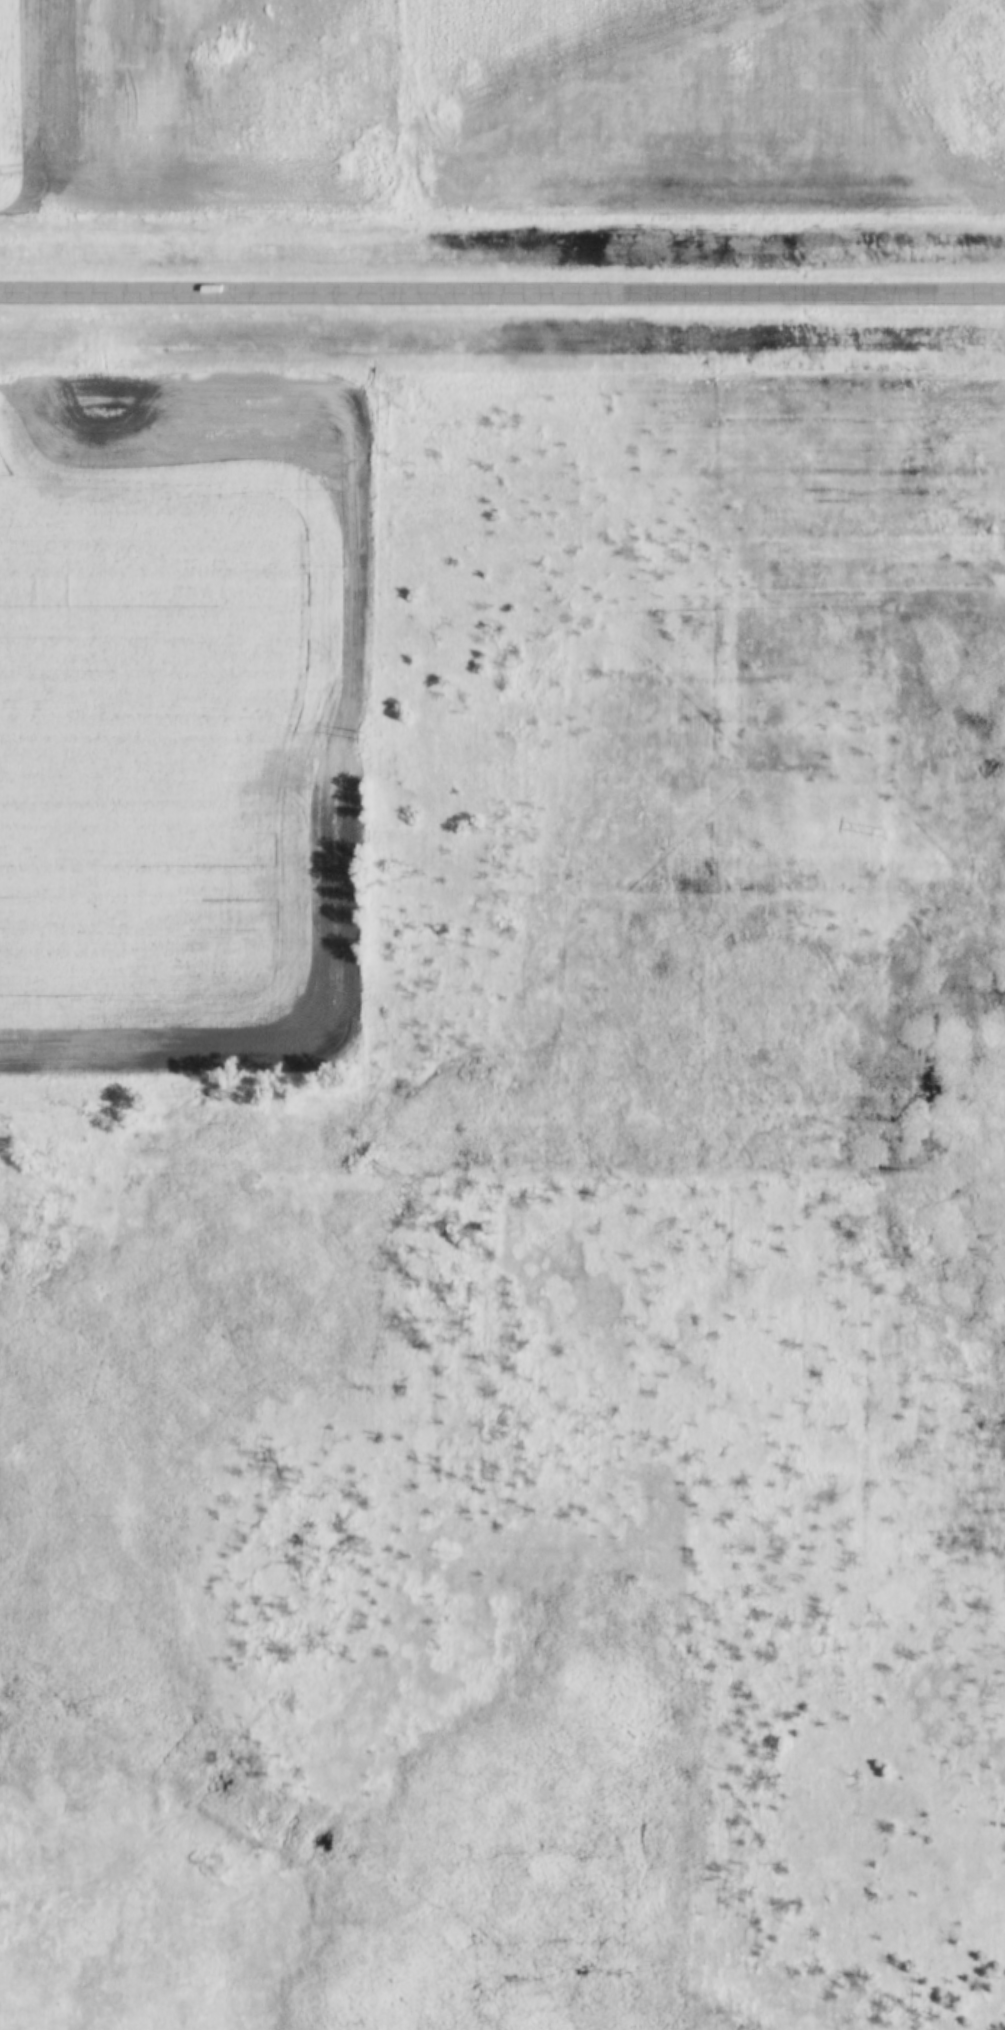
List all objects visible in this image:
crop: (707, 98)
crop: (200, 106)
road: (502, 293)
crop: (180, 724)
power tower: (365, 738)
power tower: (881, 835)

